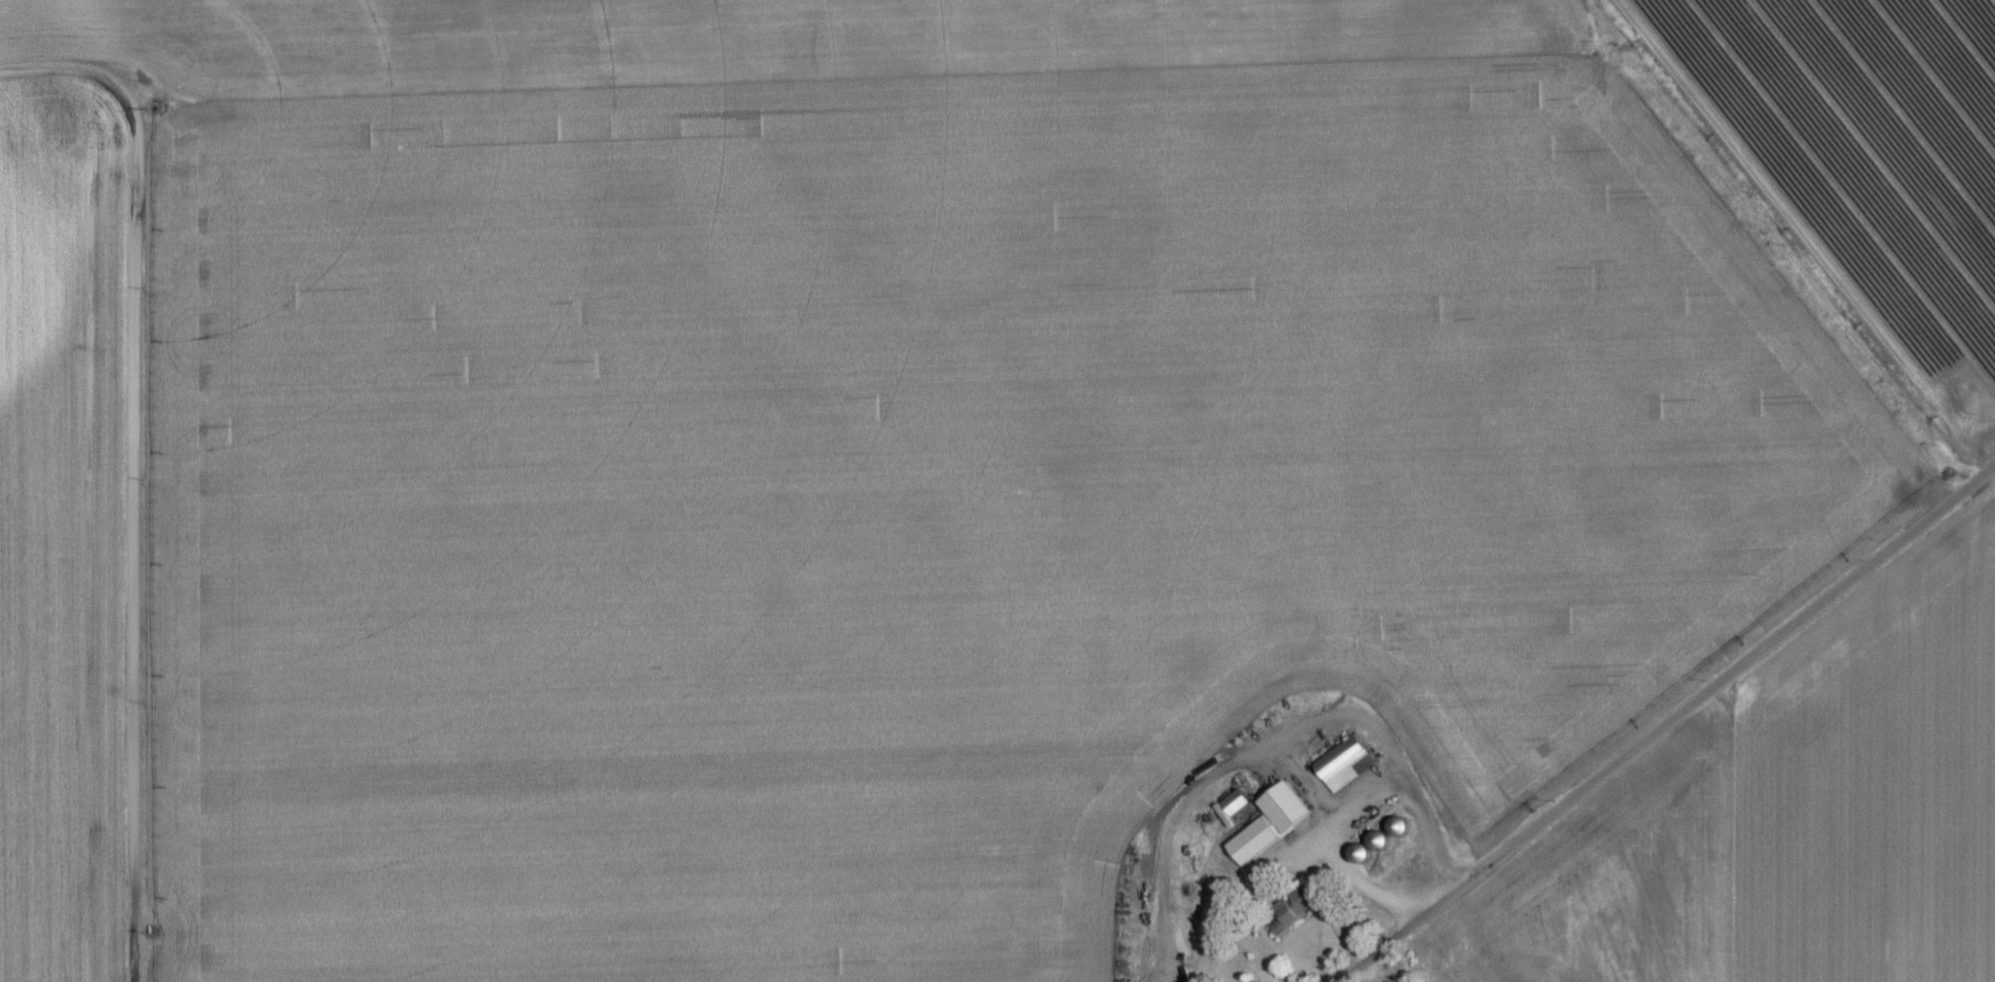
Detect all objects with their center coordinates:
road: (134, 471)
road: (1669, 728)
building: (1345, 771)
road: (1344, 820)
building: (1270, 831)
road: (1363, 889)
building: (1293, 917)

